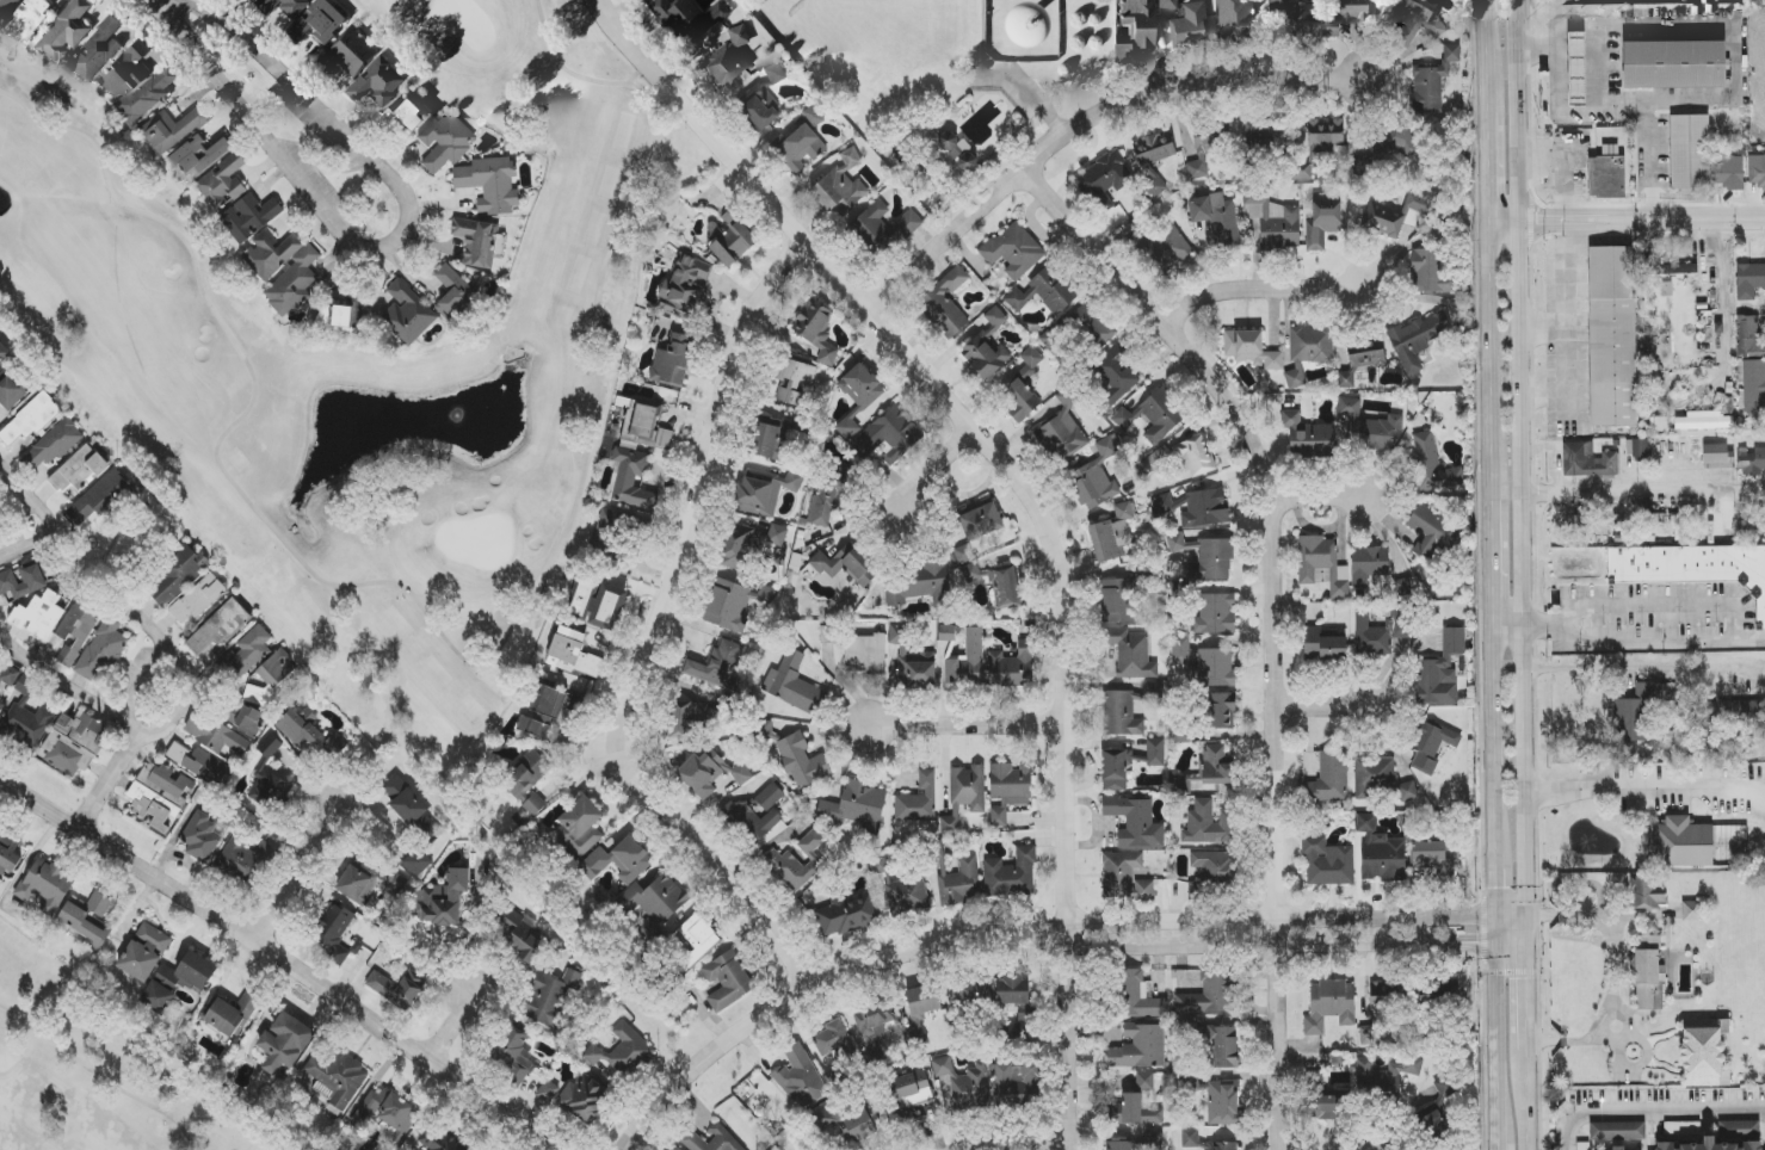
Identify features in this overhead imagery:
road: (592, 2)
road: (592, 2)
building: (1166, 2)
building: (279, 5)
building: (5, 8)
building: (1349, 10)
building: (687, 14)
building: (1297, 16)
building: (25, 17)
building: (1234, 17)
building: (1405, 19)
building: (1138, 20)
building: (314, 21)
building: (1187, 25)
building: (1434, 26)
building: (61, 31)
building: (736, 33)
road: (1735, 43)
building: (348, 50)
building: (91, 51)
building: (1121, 51)
road: (1486, 55)
building: (723, 64)
building: (1674, 64)
building: (123, 69)
building: (1576, 69)
building: (776, 74)
building: (374, 80)
building: (1432, 81)
building: (144, 94)
road: (1023, 98)
road: (313, 104)
building: (760, 109)
road: (1578, 109)
building: (403, 113)
building: (813, 117)
road: (1081, 128)
building: (172, 130)
building: (1265, 134)
building: (1391, 140)
building: (445, 142)
road: (269, 144)
building: (1319, 144)
building: (798, 148)
building: (1154, 149)
building: (1690, 152)
building: (199, 156)
building: (1203, 156)
road: (1488, 165)
building: (1362, 166)
building: (1757, 171)
building: (1729, 172)
building: (1607, 174)
building: (1105, 180)
building: (222, 184)
building: (490, 184)
building: (841, 184)
building: (1156, 185)
building: (933, 194)
building: (1399, 214)
building: (1216, 217)
building: (248, 220)
road: (1627, 220)
building: (1323, 221)
building: (1275, 222)
building: (883, 227)
building: (1255, 230)
building: (730, 240)
building: (479, 242)
building: (1164, 249)
building: (1014, 251)
building: (1674, 268)
building: (298, 272)
building: (1430, 272)
building: (1748, 280)
building: (685, 287)
road: (1252, 290)
building: (452, 292)
building: (1044, 292)
building: (945, 302)
road: (1722, 308)
building: (407, 314)
building: (334, 317)
building: (1084, 319)
building: (816, 329)
road: (1570, 329)
road: (1545, 330)
building: (1612, 336)
building: (1749, 336)
building: (1418, 338)
building: (987, 347)
building: (1251, 350)
building: (4, 353)
building: (1363, 359)
road: (1491, 360)
building: (672, 361)
building: (1031, 361)
building: (1116, 375)
park: (362, 381)
building: (790, 381)
building: (1754, 385)
building: (10, 390)
building: (858, 397)
building: (1017, 400)
building: (1154, 415)
building: (30, 420)
building: (1702, 423)
building: (1759, 423)
building: (1369, 426)
building: (646, 427)
building: (1062, 429)
building: (889, 434)
building: (1308, 437)
building: (771, 441)
building: (54, 445)
building: (1640, 449)
road: (1523, 452)
building: (1196, 456)
building: (1717, 457)
building: (1156, 460)
building: (1588, 460)
building: (1752, 462)
building: (1432, 465)
building: (81, 469)
road: (938, 471)
building: (1097, 476)
building: (631, 480)
building: (765, 491)
road: (1644, 493)
building: (832, 495)
building: (99, 497)
road: (1026, 500)
road: (1313, 501)
building: (1162, 505)
building: (1207, 508)
building: (981, 520)
building: (1674, 523)
building: (1605, 524)
building: (1711, 524)
building: (607, 531)
building: (1112, 534)
building: (1432, 534)
building: (777, 536)
building: (743, 540)
road: (26, 545)
building: (962, 555)
road: (1494, 557)
building: (1207, 558)
building: (1322, 564)
building: (1369, 564)
building: (845, 565)
building: (1692, 568)
building: (971, 573)
building: (177, 576)
building: (23, 581)
building: (921, 586)
building: (1005, 588)
building: (198, 599)
building: (1119, 602)
road: (1662, 602)
building: (735, 605)
building: (606, 607)
road: (124, 608)
building: (1215, 614)
road: (1510, 614)
building: (39, 616)
road: (1275, 617)
building: (217, 629)
building: (76, 631)
building: (1381, 632)
building: (948, 633)
building: (829, 635)
road: (655, 641)
road: (1640, 644)
building: (1322, 645)
building: (101, 651)
building: (865, 654)
building: (1130, 654)
building: (246, 655)
building: (573, 655)
building: (0, 661)
building: (912, 661)
building: (967, 661)
building: (1204, 662)
building: (717, 666)
building: (1013, 667)
road: (1634, 668)
building: (1440, 672)
building: (10, 675)
building: (273, 679)
road: (140, 681)
road: (67, 684)
building: (794, 685)
road: (1325, 709)
building: (1128, 710)
building: (1222, 711)
building: (1636, 711)
building: (1736, 712)
building: (543, 713)
building: (26, 717)
building: (241, 717)
building: (687, 719)
road: (971, 727)
building: (309, 734)
building: (215, 735)
road: (1496, 742)
building: (75, 743)
building: (1431, 744)
building: (1155, 752)
building: (802, 761)
building: (199, 763)
building: (1216, 766)
building: (1115, 771)
building: (709, 773)
building: (1332, 775)
building: (269, 780)
building: (1381, 780)
road: (109, 783)
building: (527, 783)
building: (1011, 784)
building: (965, 795)
building: (160, 796)
road: (1642, 796)
building: (769, 797)
building: (405, 800)
building: (919, 802)
building: (857, 805)
building: (999, 817)
building: (754, 818)
building: (1135, 823)
building: (1208, 824)
building: (581, 827)
building: (200, 837)
building: (1681, 843)
building: (8, 853)
building: (1381, 853)
building: (1436, 859)
building: (247, 860)
building: (619, 860)
building: (418, 862)
building: (797, 862)
building: (1327, 862)
building: (1212, 871)
building: (1011, 874)
building: (1124, 877)
road: (300, 880)
building: (959, 882)
building: (47, 885)
building: (369, 885)
road: (1498, 888)
building: (899, 890)
building: (1649, 894)
building: (445, 899)
building: (653, 903)
building: (1692, 911)
road: (1498, 913)
road: (1525, 913)
building: (847, 914)
road: (1271, 919)
building: (90, 920)
road: (469, 930)
building: (334, 932)
road: (1498, 932)
road: (1525, 932)
building: (522, 938)
building: (698, 938)
road: (1272, 946)
building: (144, 952)
road: (278, 964)
road: (1617, 973)
building: (1649, 976)
building: (178, 982)
building: (727, 982)
building: (396, 990)
building: (1012, 990)
building: (970, 993)
road: (801, 995)
building: (1210, 995)
building: (1439, 996)
building: (550, 997)
building: (1138, 997)
road: (1525, 997)
building: (1329, 1006)
building: (921, 1007)
road: (1498, 1008)
building: (230, 1014)
building: (1380, 1014)
building: (871, 1024)
building: (1024, 1024)
road: (450, 1026)
building: (832, 1039)
building: (285, 1043)
building: (514, 1047)
building: (1140, 1047)
building: (1224, 1047)
building: (623, 1051)
building: (1702, 1055)
road: (1526, 1061)
road: (100, 1077)
building: (801, 1078)
building: (1387, 1078)
park: (99, 1080)
building: (335, 1082)
building: (1141, 1083)
building: (965, 1084)
building: (912, 1089)
building: (548, 1092)
building: (586, 1098)
building: (1440, 1098)
building: (1325, 1099)
building: (1223, 1103)
road: (1650, 1108)
road: (1526, 1109)
road: (1498, 1111)
building: (387, 1113)
building: (856, 1126)
building: (1742, 1130)
building: (1617, 1131)
building: (721, 1133)
building: (1190, 1136)
building: (439, 1140)
building: (1153, 1140)
building: (1118, 1144)
road: (1014, 1145)
building: (1710, 1145)
building: (1582, 1146)
building: (1618, 1148)
building: (674, 1149)

